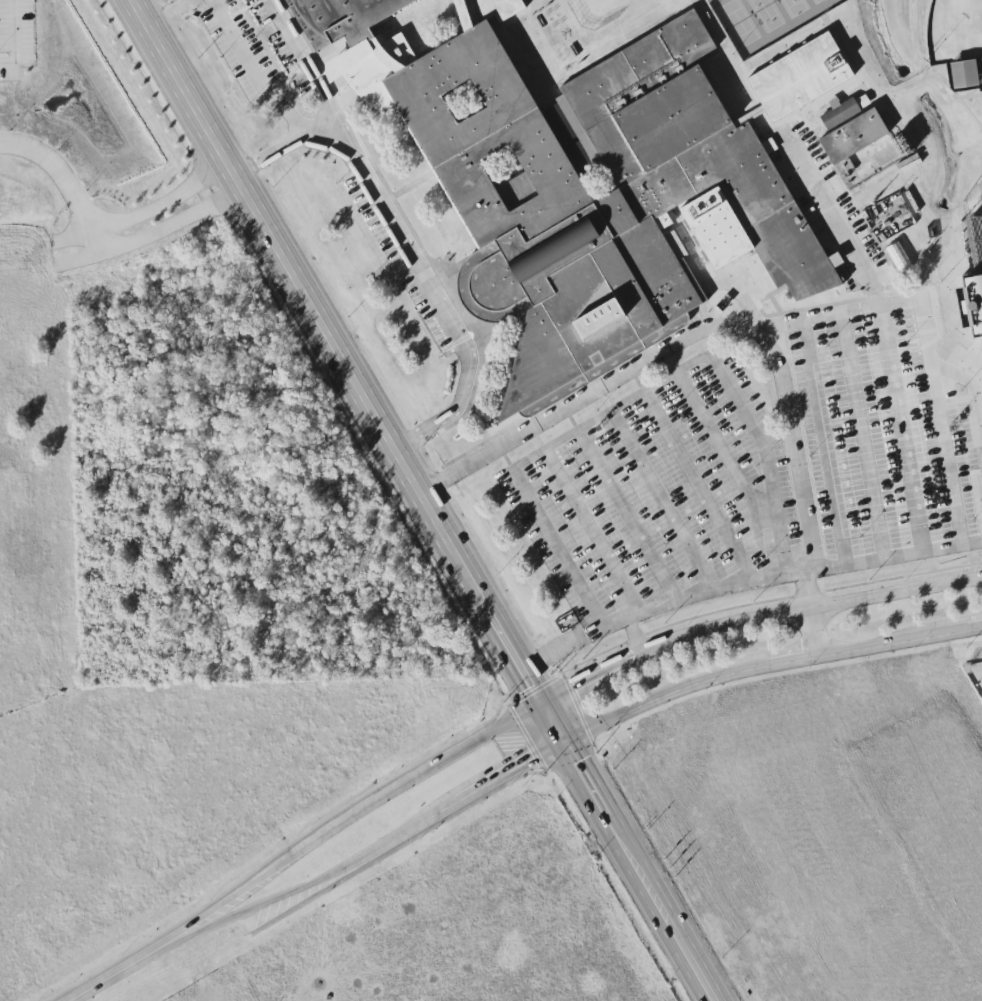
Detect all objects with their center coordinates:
park: (817, 1)
park: (795, 6)
road: (155, 8)
road: (468, 11)
park: (767, 13)
building: (357, 17)
park: (740, 22)
park: (955, 31)
road: (15, 37)
building: (553, 41)
parking lot: (286, 47)
building: (518, 49)
road: (555, 51)
road: (382, 58)
road: (740, 60)
road: (247, 74)
building: (966, 74)
road: (393, 75)
building: (800, 77)
road: (550, 83)
building: (539, 86)
road: (833, 95)
road: (888, 98)
building: (844, 110)
building: (561, 124)
building: (855, 136)
road: (330, 146)
road: (268, 161)
building: (583, 161)
building: (914, 178)
road: (410, 188)
road: (978, 197)
building: (597, 202)
parking lot: (827, 203)
building: (903, 211)
road: (834, 218)
road: (171, 225)
road: (960, 230)
road: (403, 235)
road: (98, 236)
road: (746, 253)
building: (902, 259)
stadium: (976, 262)
parking lot: (404, 263)
building: (976, 266)
parking lot: (725, 279)
road: (773, 296)
road: (742, 325)
road: (780, 327)
road: (962, 327)
road: (707, 328)
road: (771, 342)
road: (336, 351)
road: (633, 400)
parking lot: (891, 420)
road: (942, 422)
road: (906, 428)
road: (865, 436)
road: (727, 455)
road: (831, 464)
road: (697, 487)
parking lot: (660, 495)
road: (662, 501)
road: (629, 515)
road: (593, 534)
road: (915, 551)
road: (704, 592)
road: (825, 605)
road: (816, 631)
road: (635, 636)
road: (658, 648)
road: (546, 655)
road: (765, 664)
road: (591, 677)
traffic signals: (540, 704)
road: (551, 723)
traffic signals: (562, 743)
road: (361, 806)
road: (384, 846)
road: (637, 872)
road: (133, 964)

